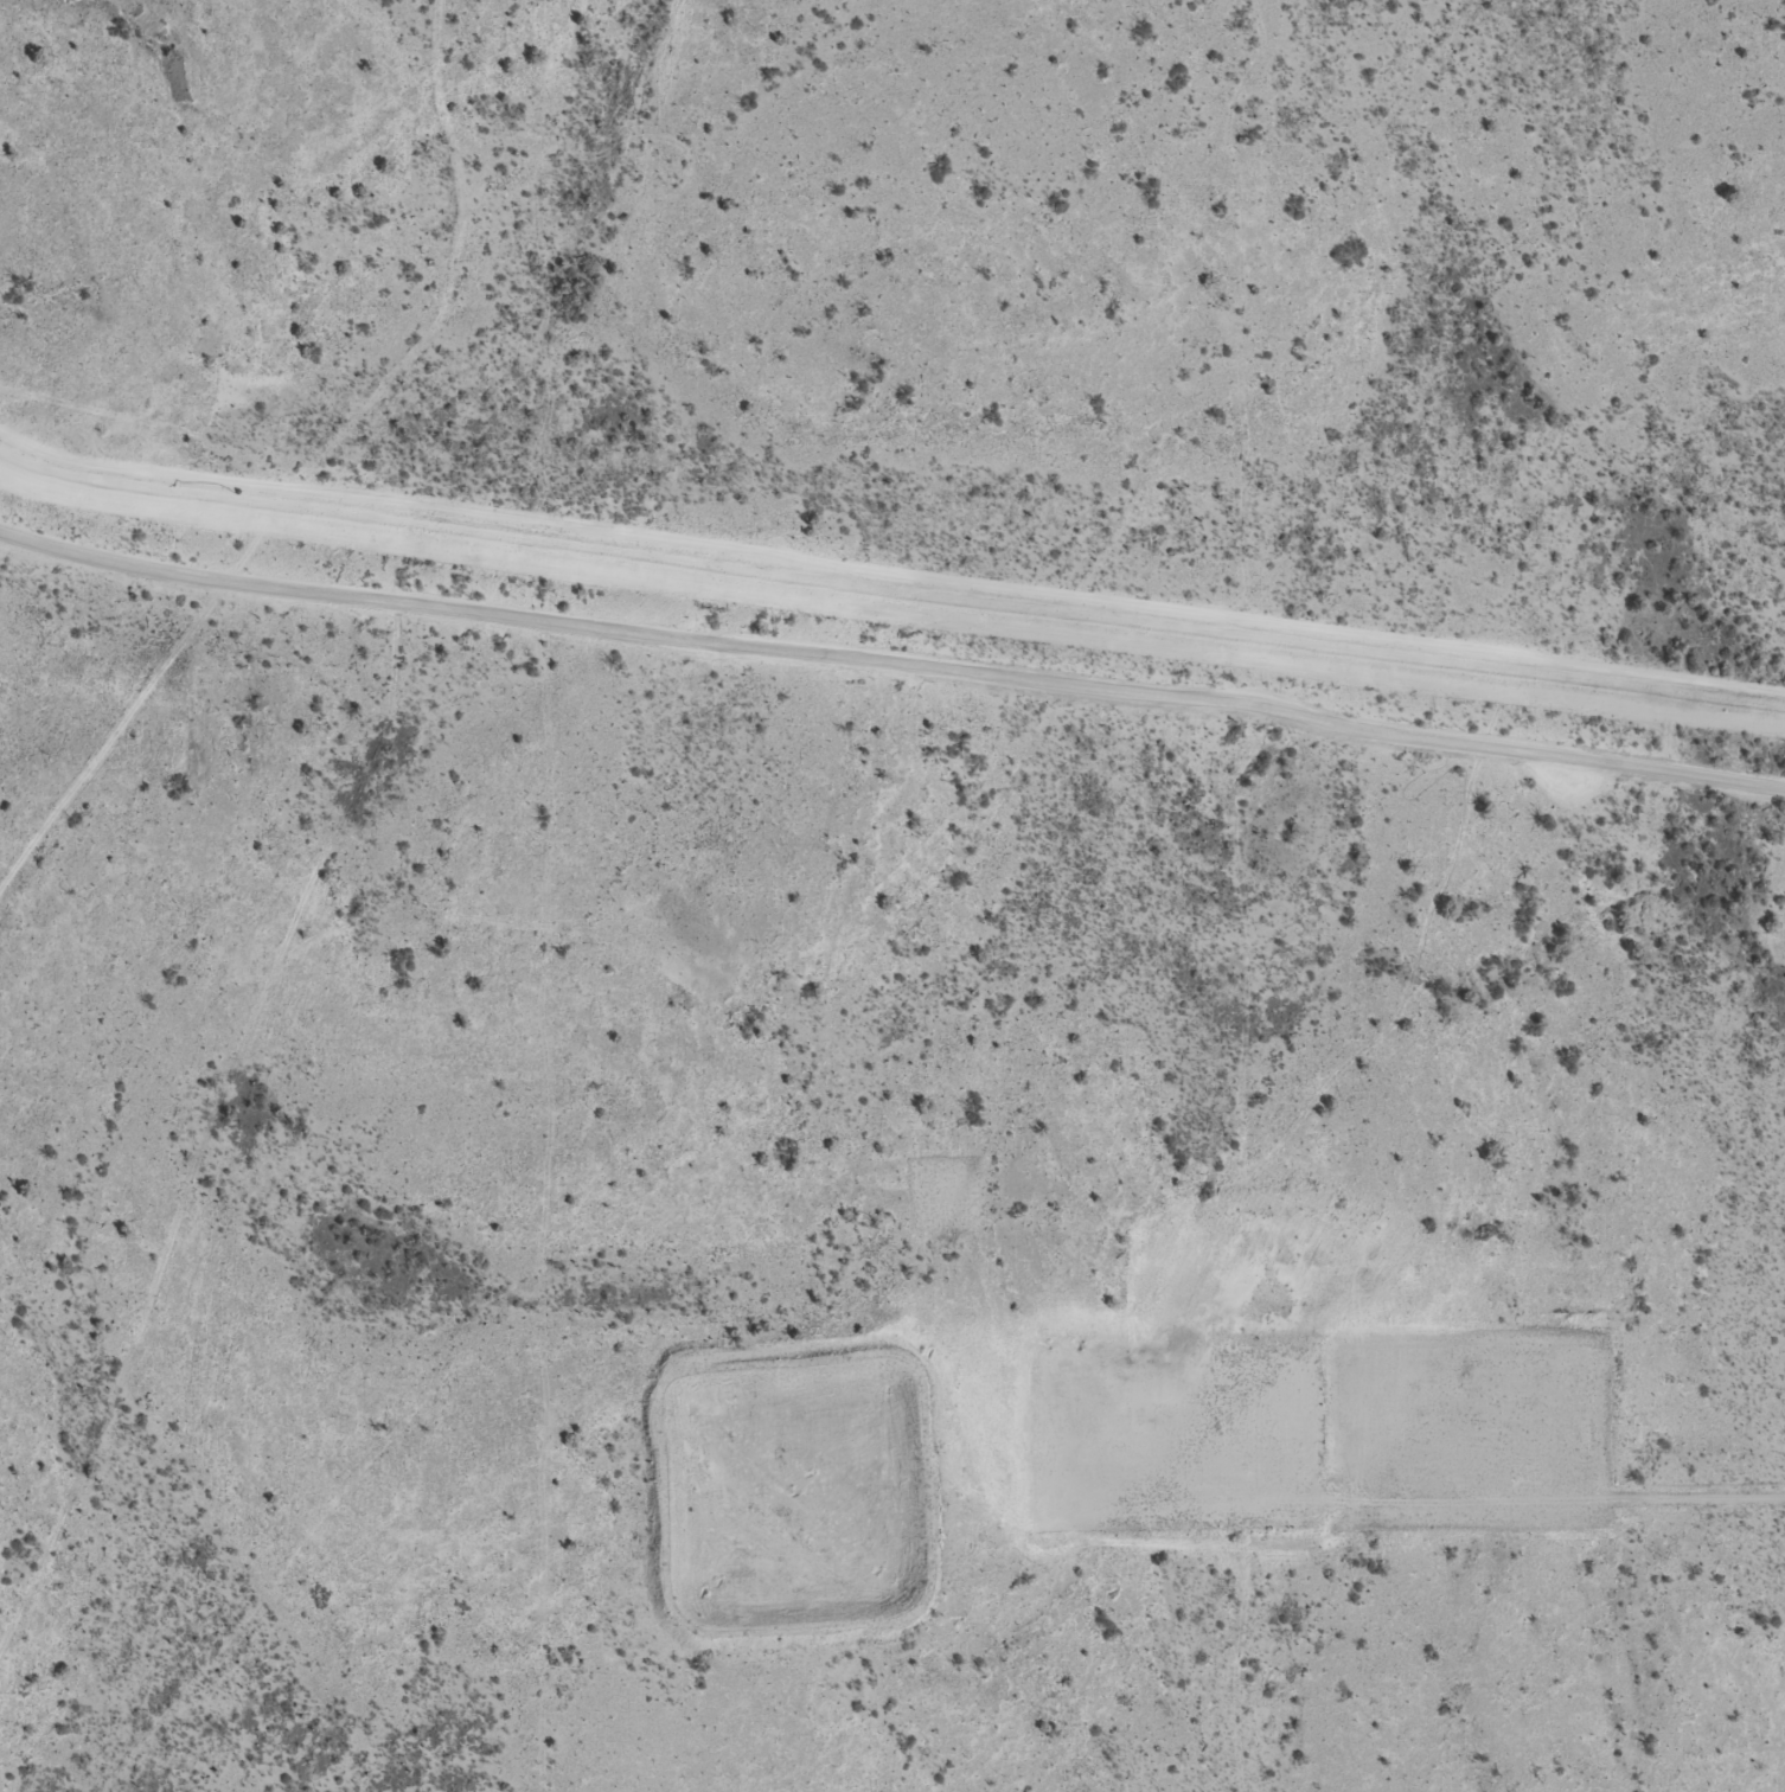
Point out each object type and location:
road: (874, 533)
road: (217, 1038)

